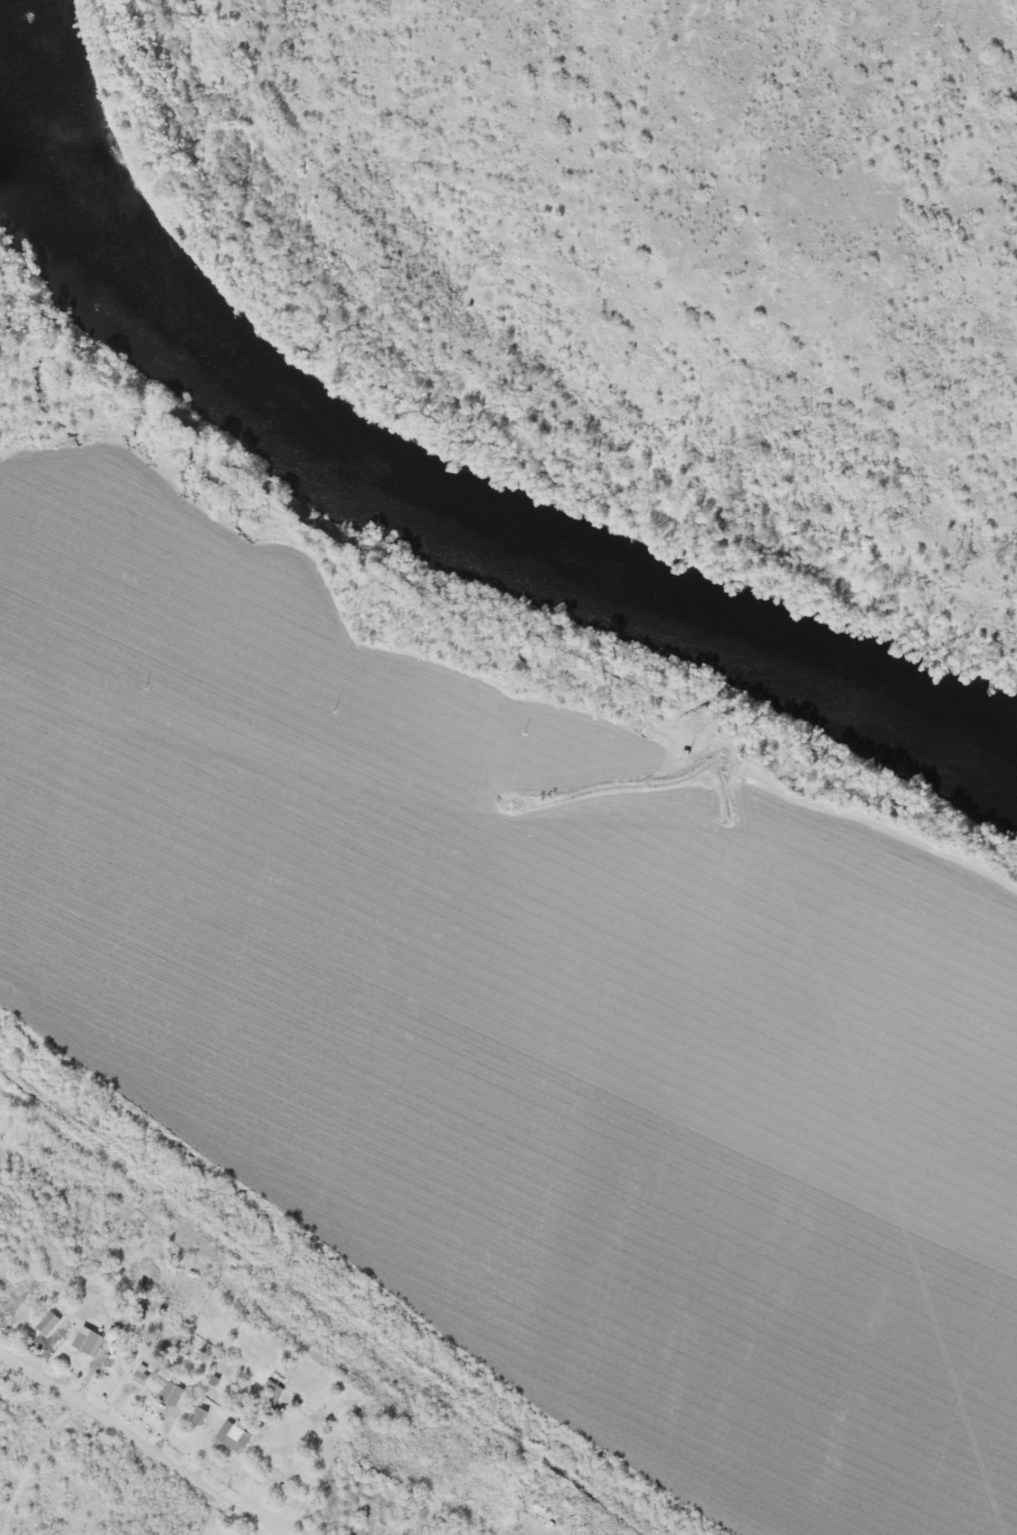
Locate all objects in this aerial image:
river: (411, 494)
building: (53, 1319)
building: (176, 1389)
road: (139, 1441)

